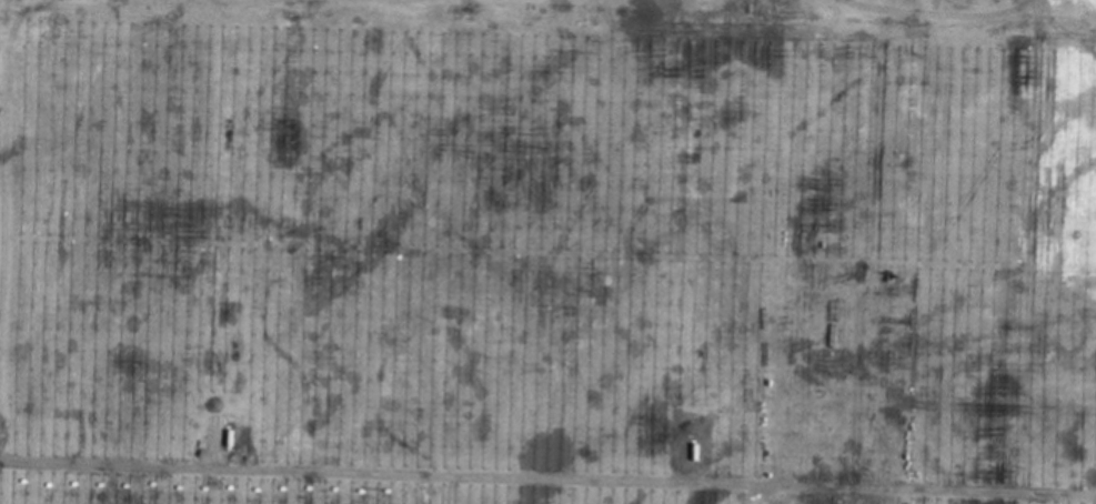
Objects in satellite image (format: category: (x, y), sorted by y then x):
solar farm: (547, 252)

